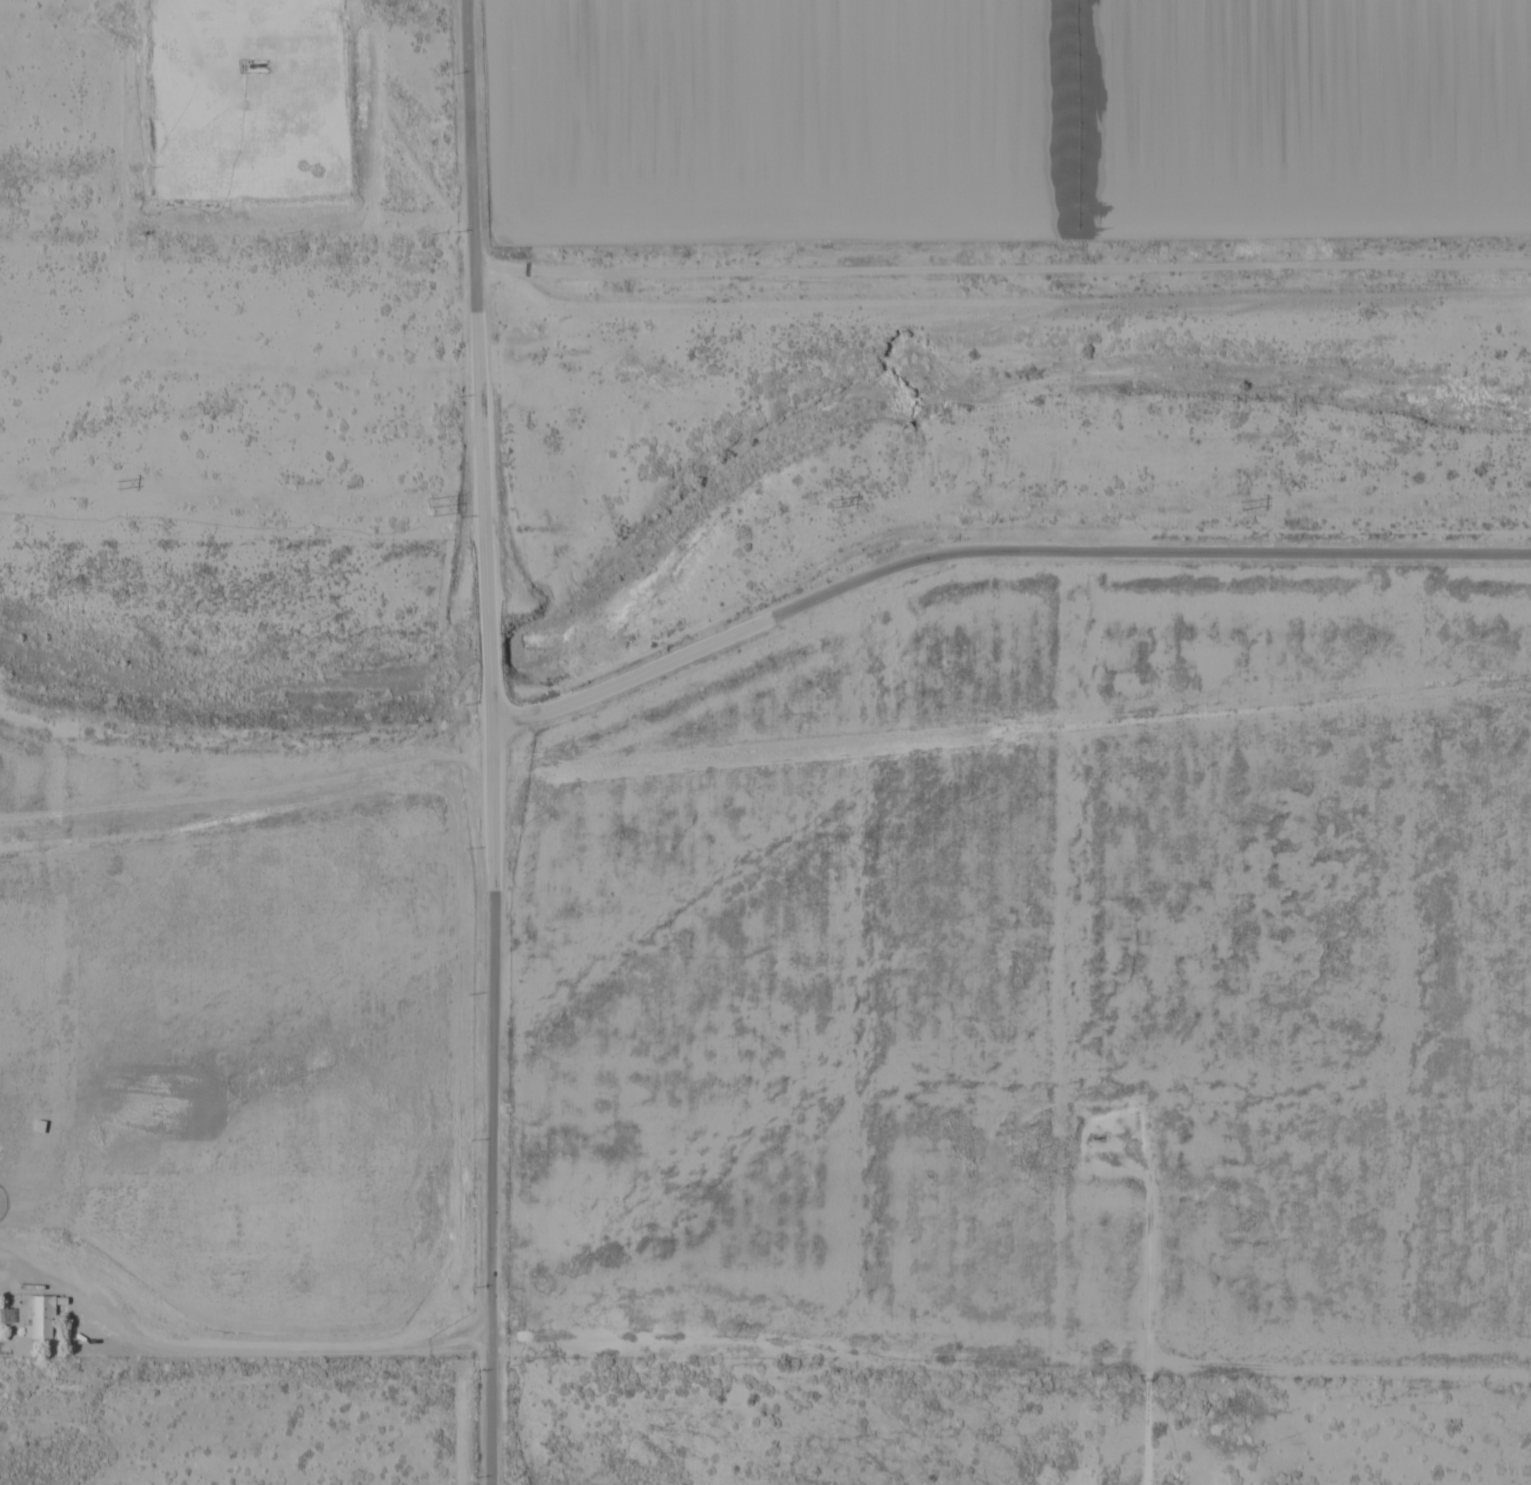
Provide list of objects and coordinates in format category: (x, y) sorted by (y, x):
road: (469, 183)
road: (1001, 281)
road: (433, 338)
power tower: (112, 485)
road: (480, 491)
power tower: (827, 504)
power tower: (1241, 505)
power tower: (426, 506)
road: (994, 547)
road: (486, 649)
road: (246, 736)
road: (492, 1083)
road: (1150, 1291)

